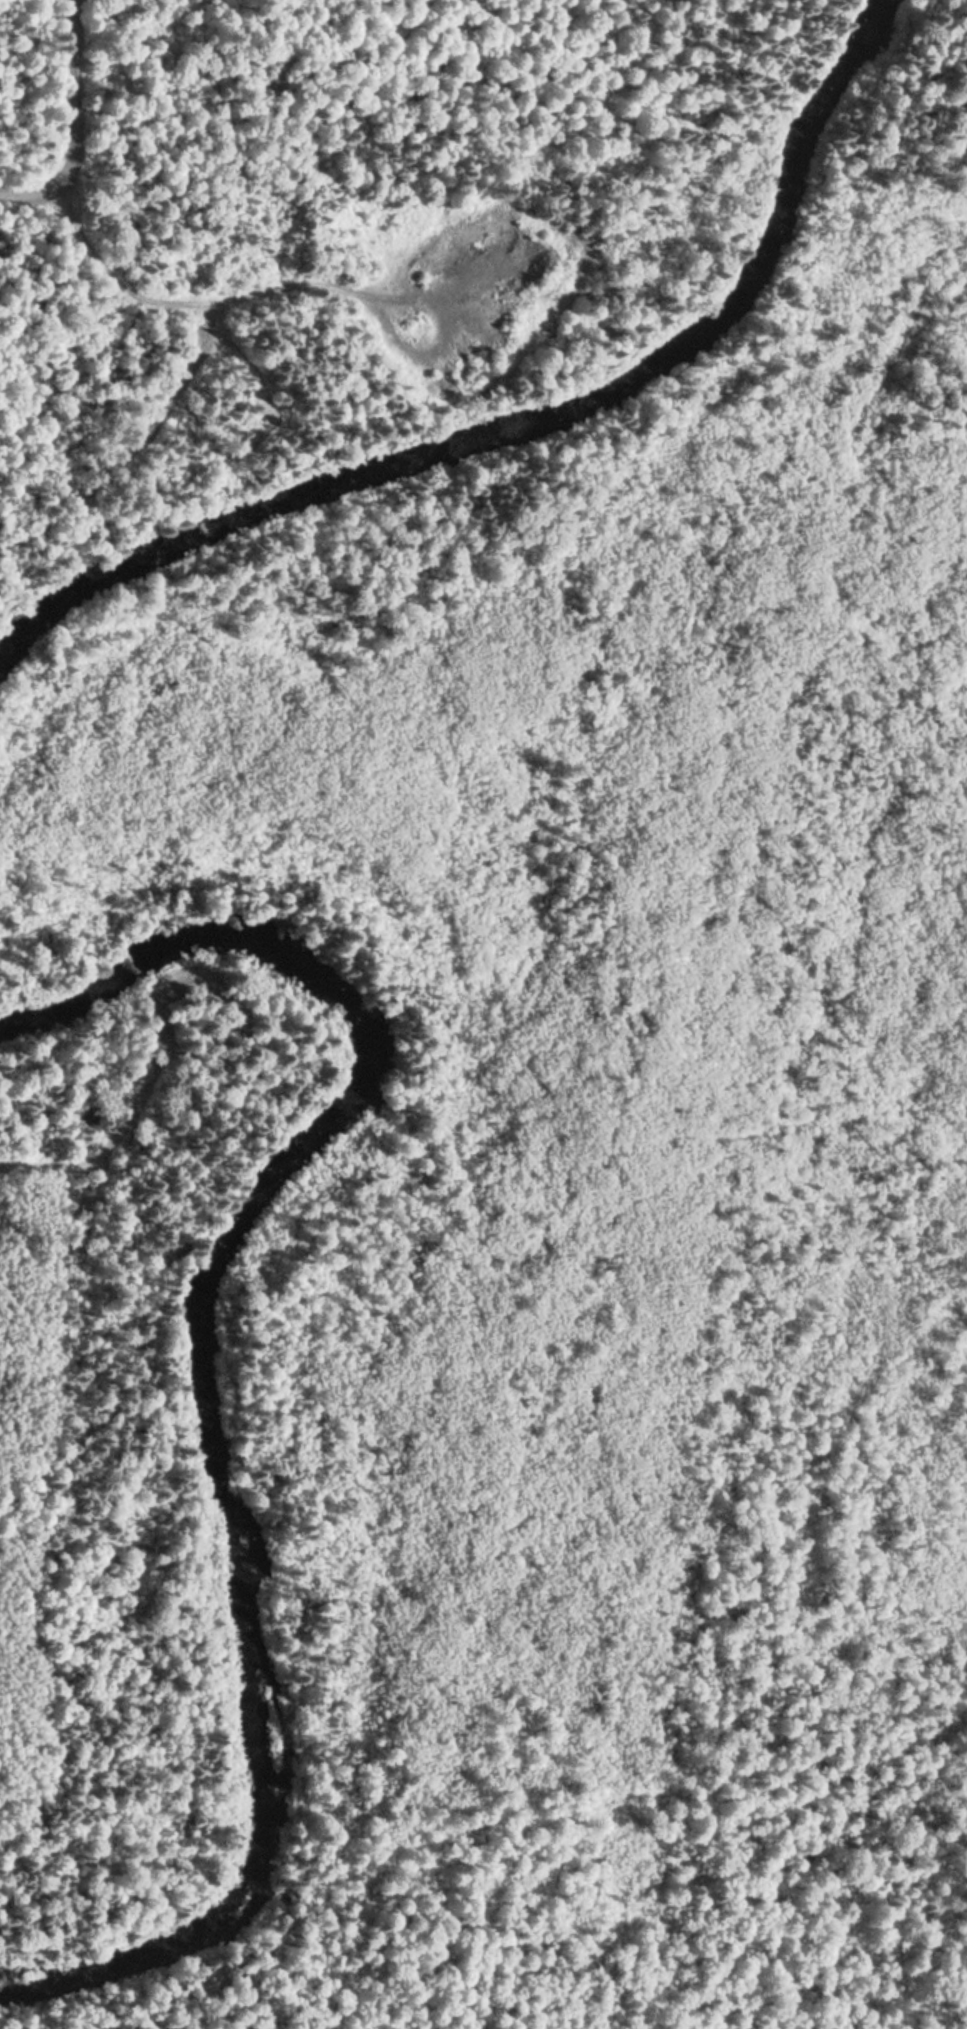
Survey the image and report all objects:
road: (71, 123)
river: (628, 359)
river: (114, 608)
river: (200, 1243)
river: (127, 2001)

